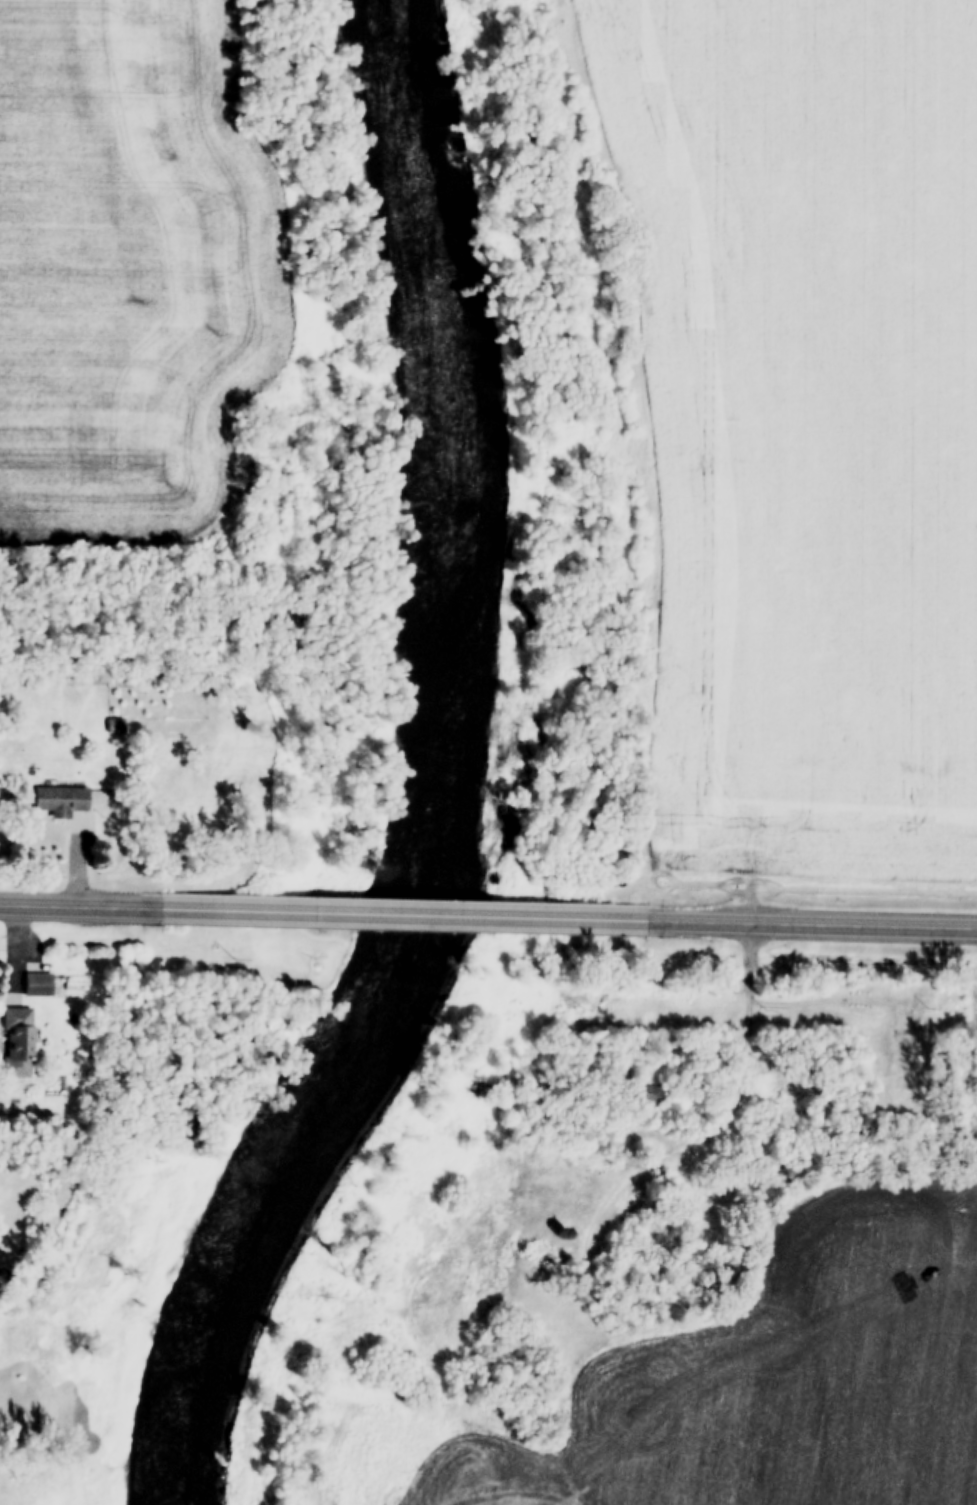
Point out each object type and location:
crop: (129, 264)
crop: (807, 422)
river: (452, 454)
building: (59, 798)
road: (79, 904)
road: (298, 908)
road: (542, 915)
road: (811, 925)
building: (36, 982)
building: (17, 1038)
building: (646, 1090)
river: (285, 1194)
building: (561, 1231)
silo: (561, 1231)
building: (4, 1274)
crop: (744, 1380)

